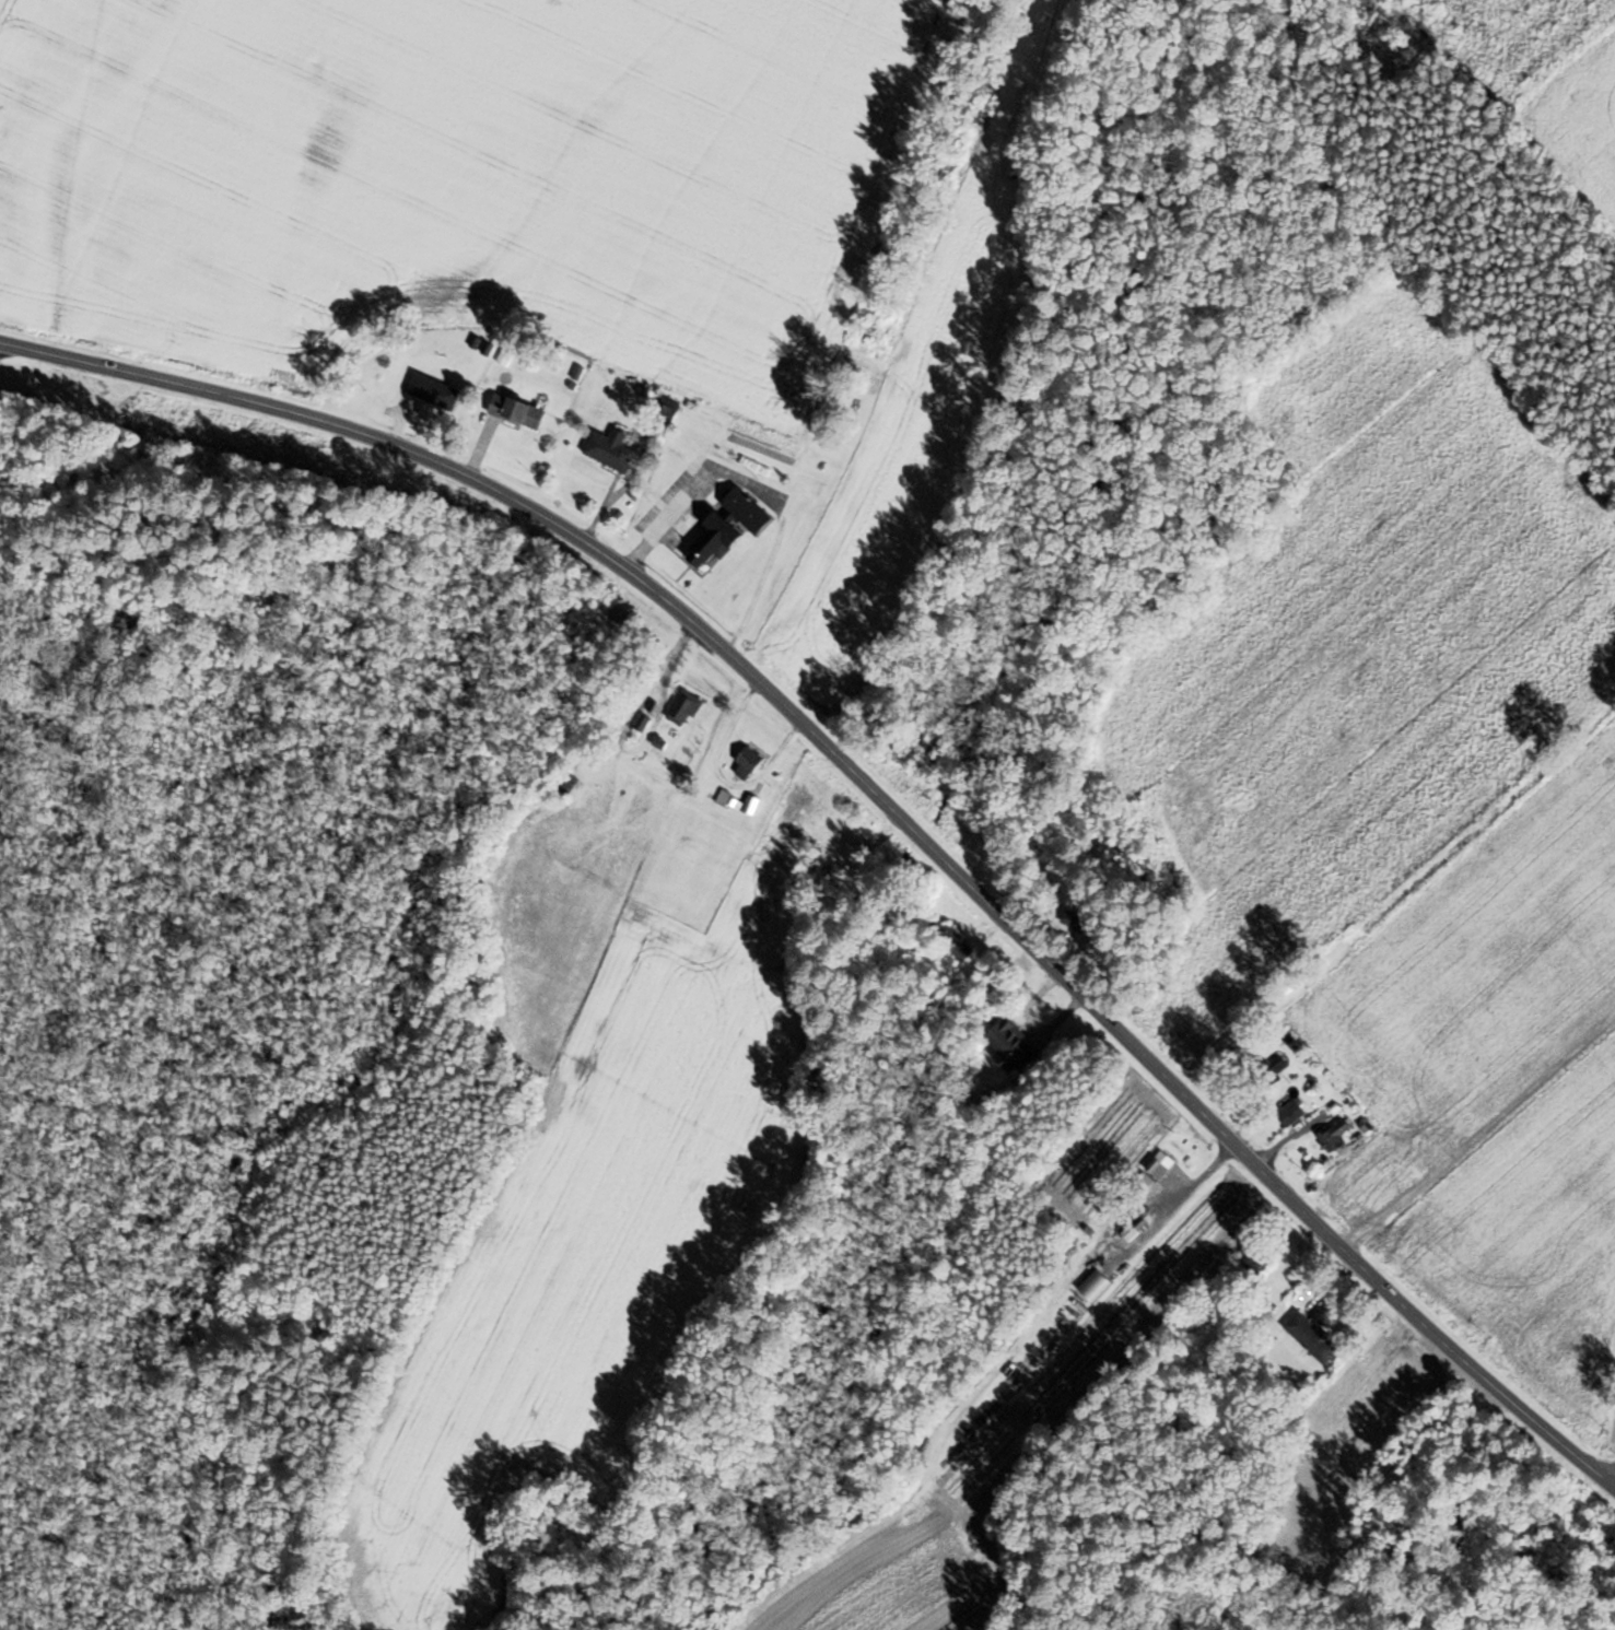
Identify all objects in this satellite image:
building: (434, 390)
building: (666, 409)
building: (517, 411)
building: (610, 449)
building: (747, 511)
road: (293, 530)
building: (715, 540)
building: (683, 707)
building: (747, 763)
building: (564, 784)
building: (796, 804)
road: (876, 804)
building: (791, 847)
building: (1075, 920)
building: (950, 939)
building: (1014, 1045)
building: (1276, 1068)
building: (1291, 1113)
building: (1335, 1135)
road: (1475, 1136)
building: (1165, 1161)
building: (1133, 1224)
building: (1259, 1259)
building: (1095, 1285)
building: (1312, 1337)
road: (1590, 1461)

